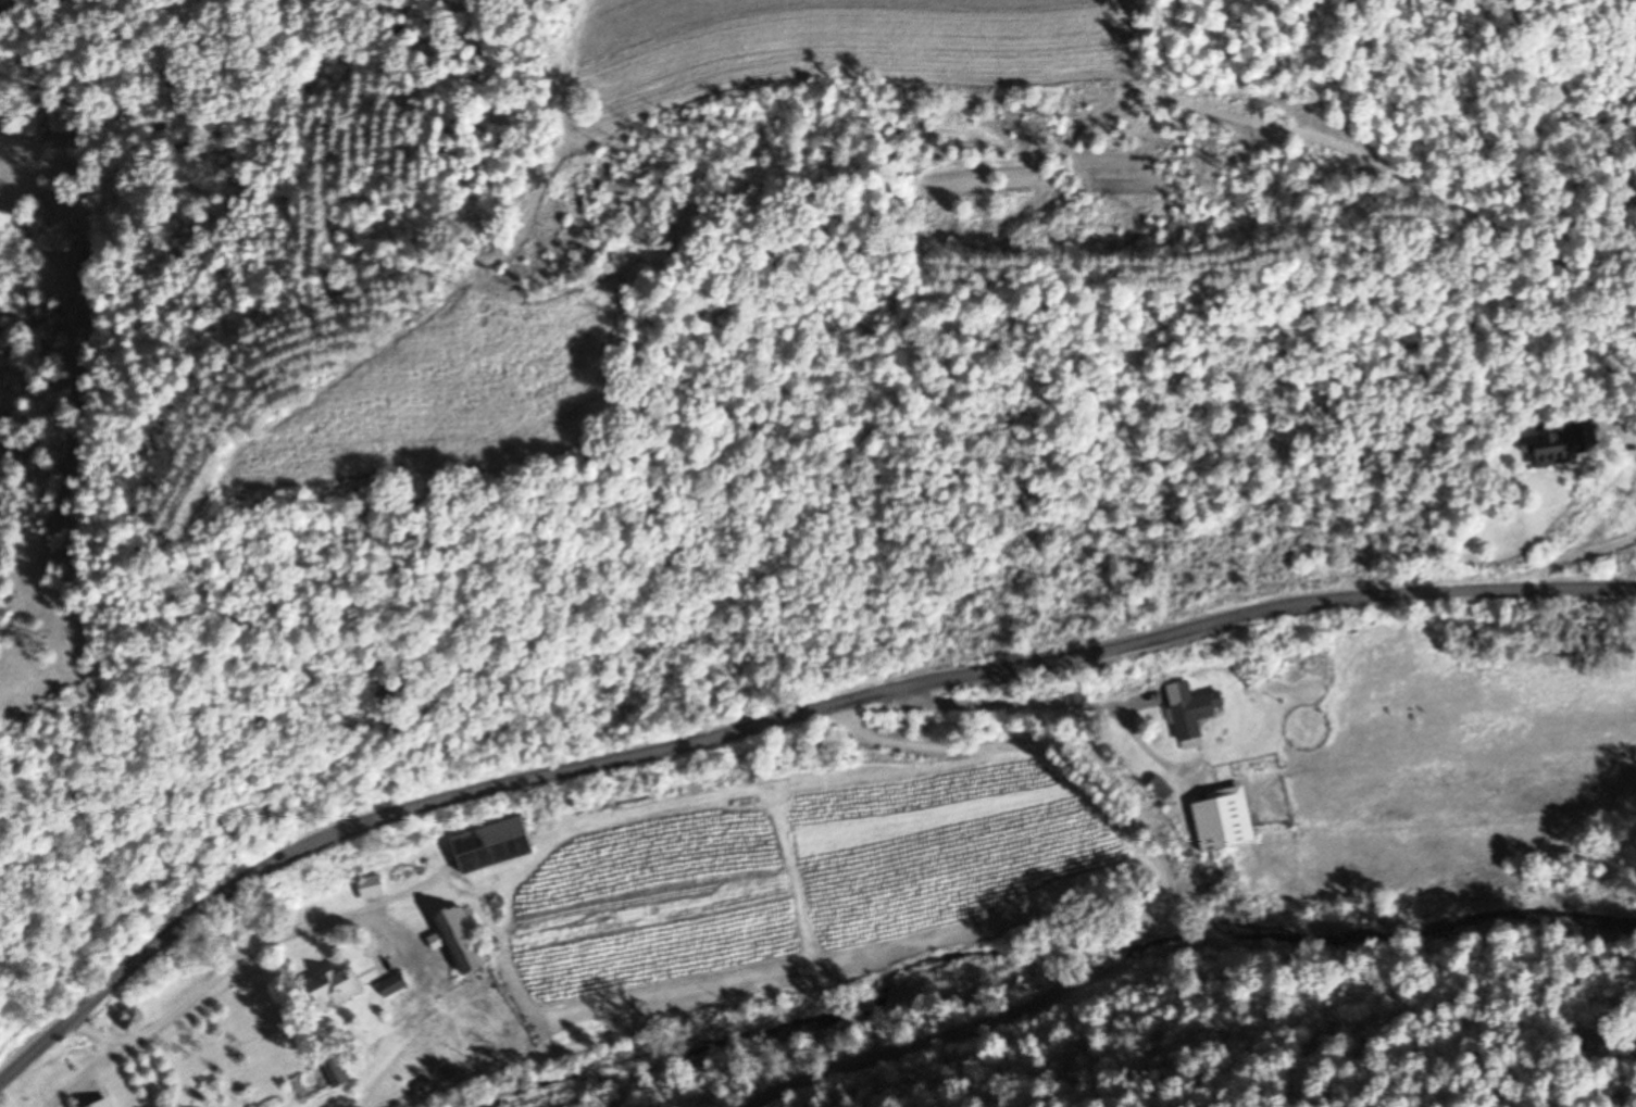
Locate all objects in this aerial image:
road: (1628, 433)
building: (1561, 444)
road: (1563, 553)
building: (1314, 664)
building: (1190, 709)
road: (772, 725)
building: (1221, 820)
building: (490, 845)
building: (369, 889)
road: (1140, 919)
building: (458, 941)
road: (246, 946)
building: (390, 986)
building: (333, 990)
building: (333, 1072)
building: (101, 1104)

